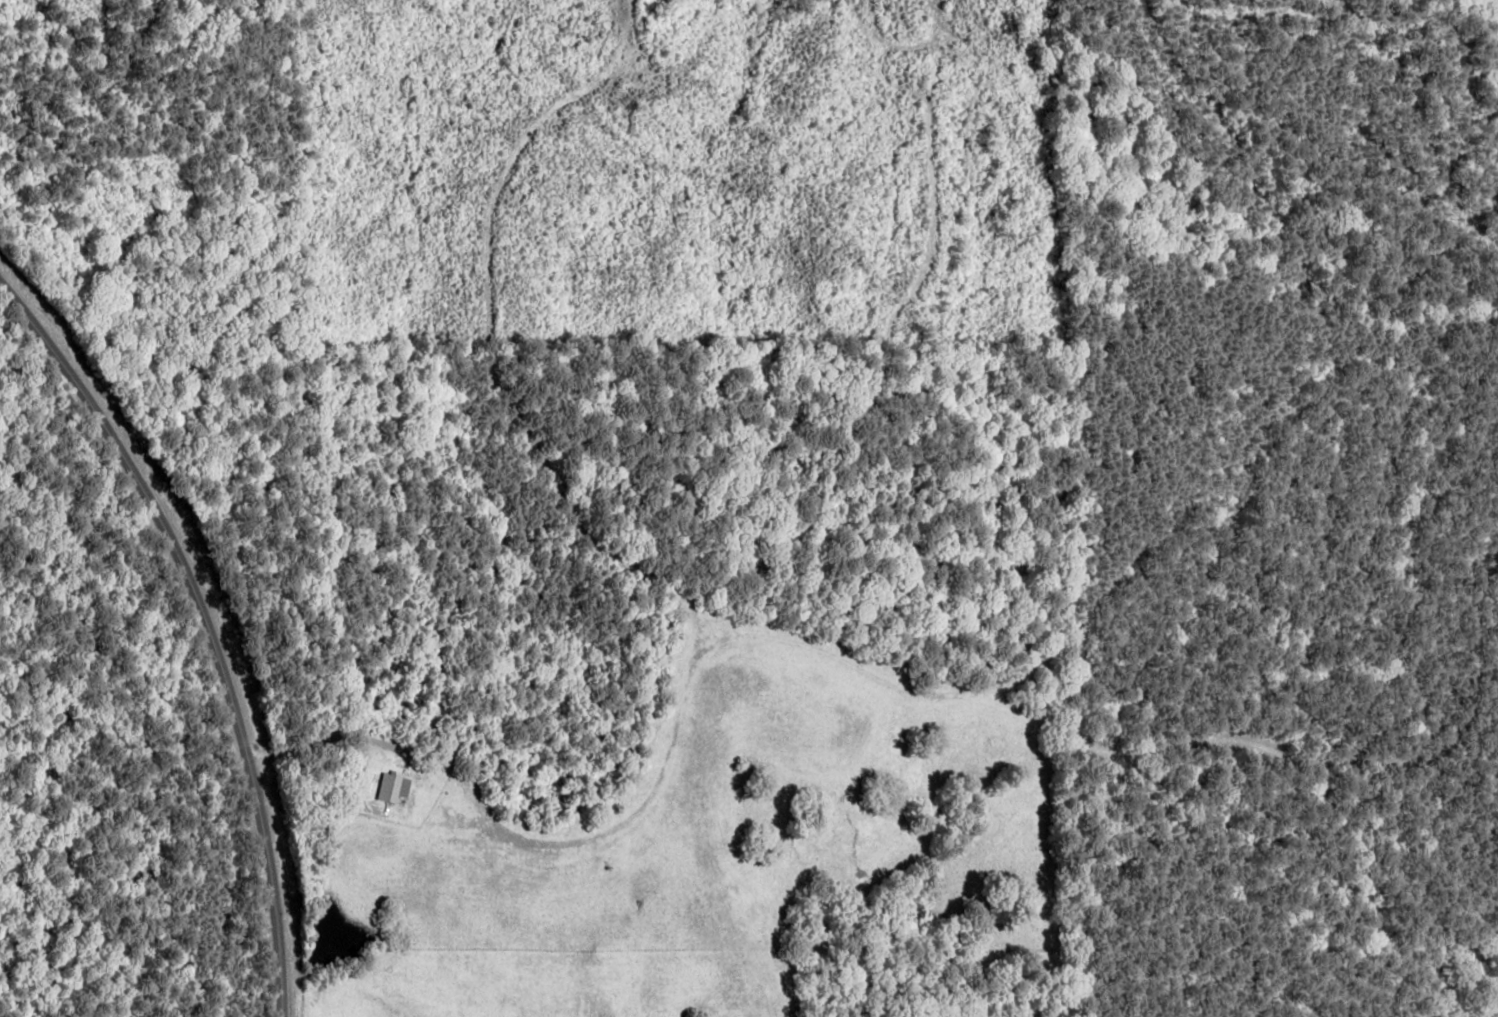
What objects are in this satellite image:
road: (176, 632)
building: (395, 786)

